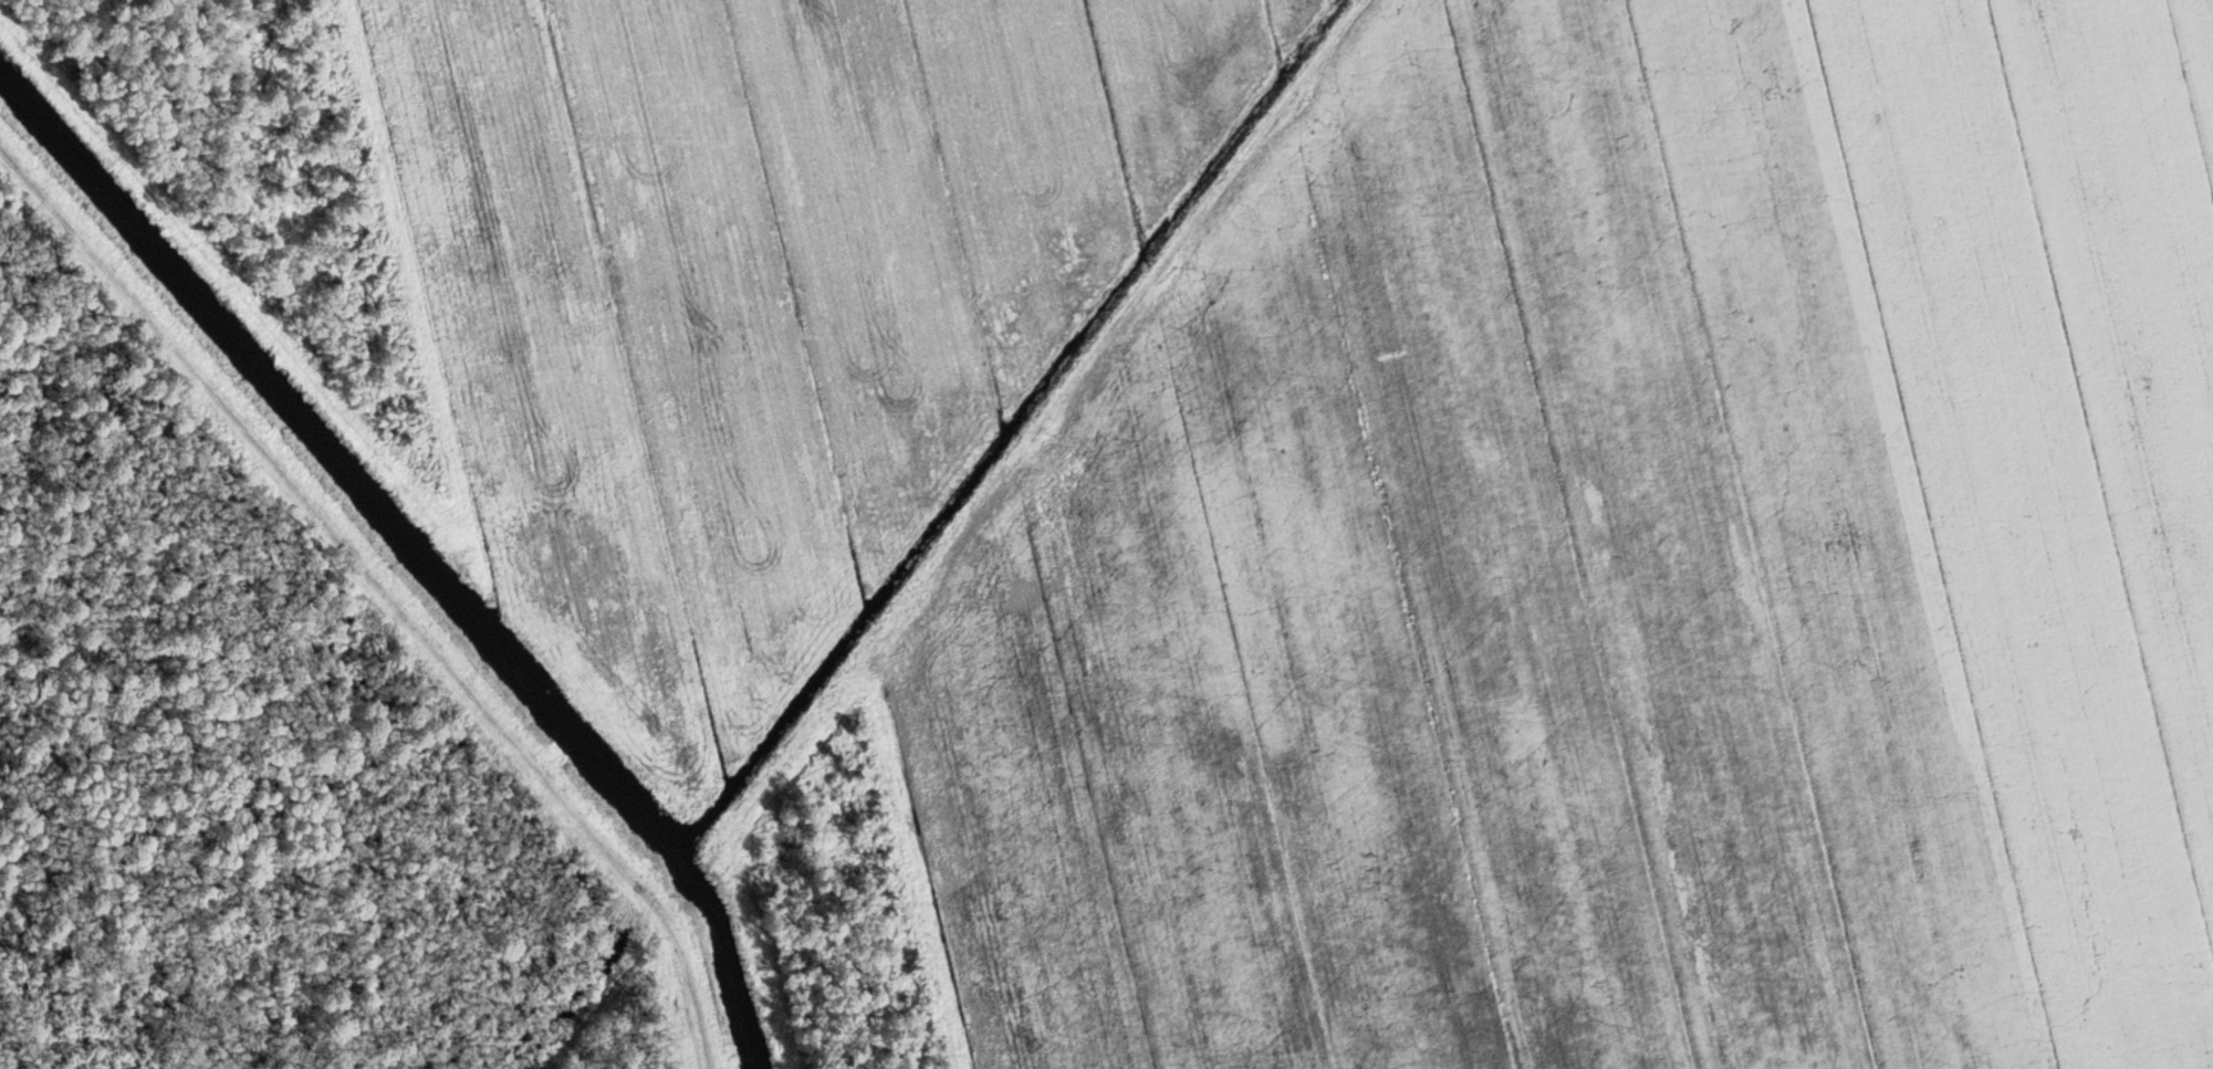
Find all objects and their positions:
road: (1222, 185)
crop: (764, 296)
road: (386, 566)
crop: (1618, 568)
building: (690, 879)

